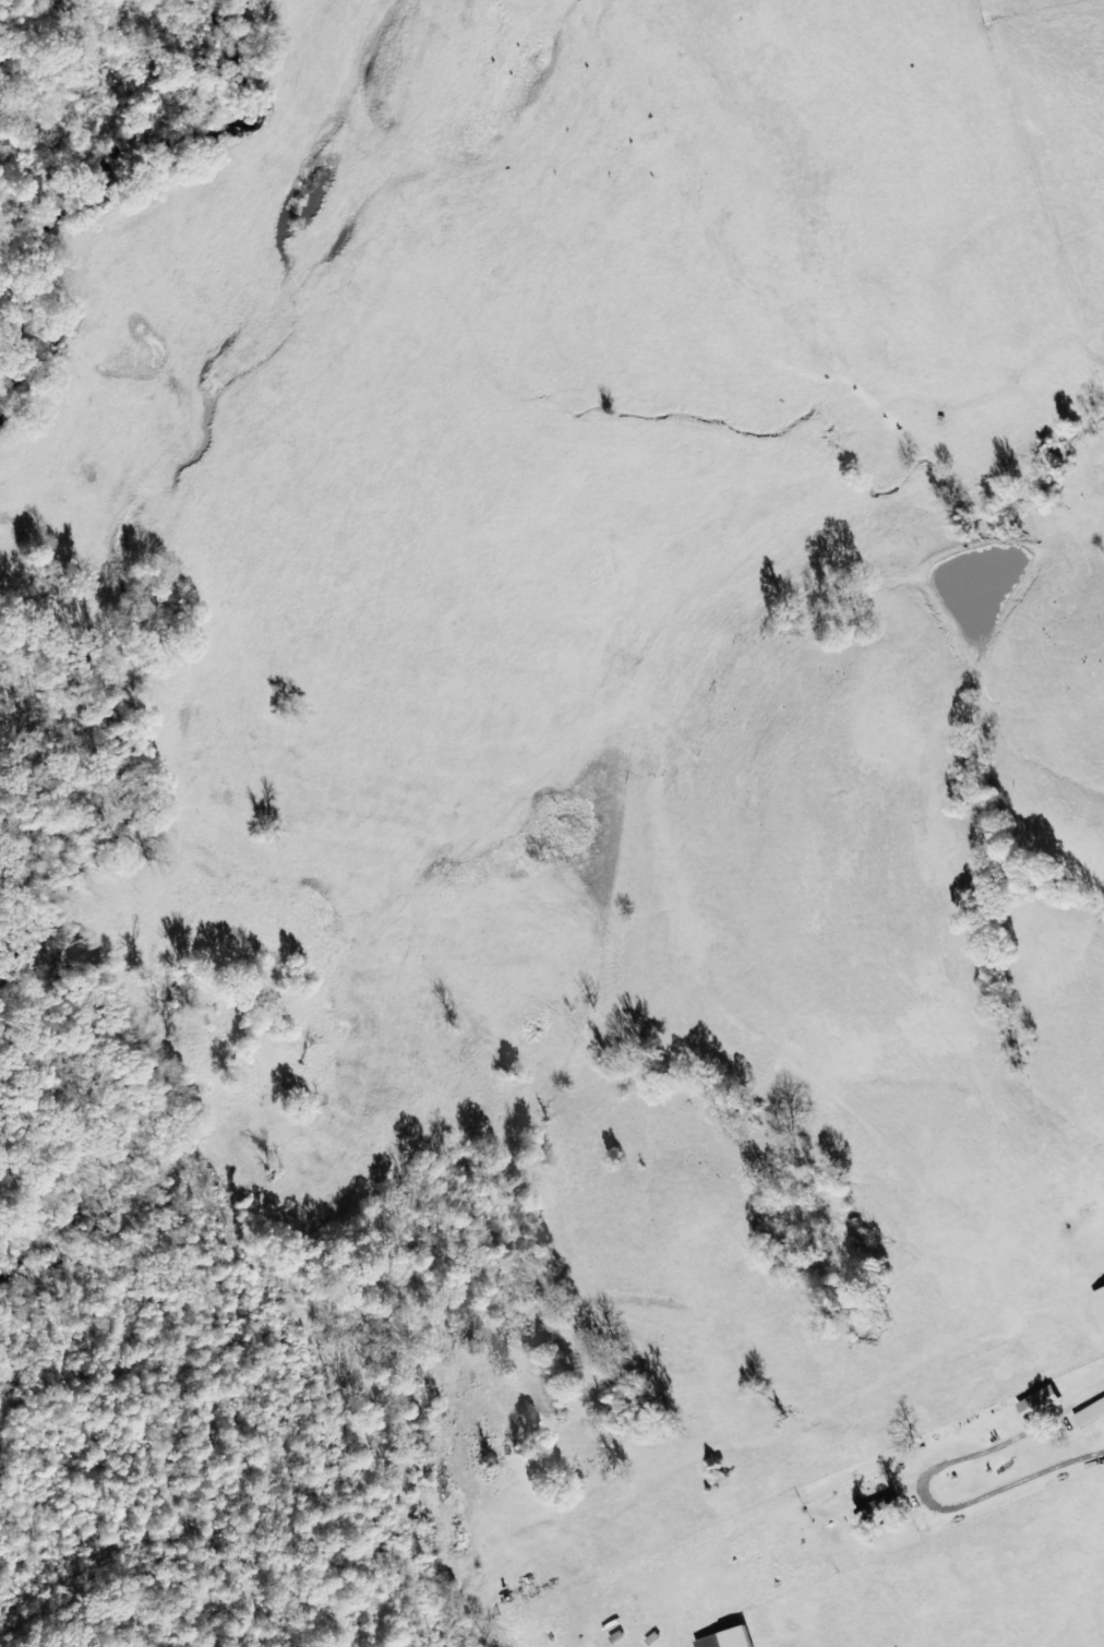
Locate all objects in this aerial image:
building: (1100, 1299)
building: (1041, 1404)
building: (1090, 1413)
building: (877, 1511)
building: (730, 1638)

